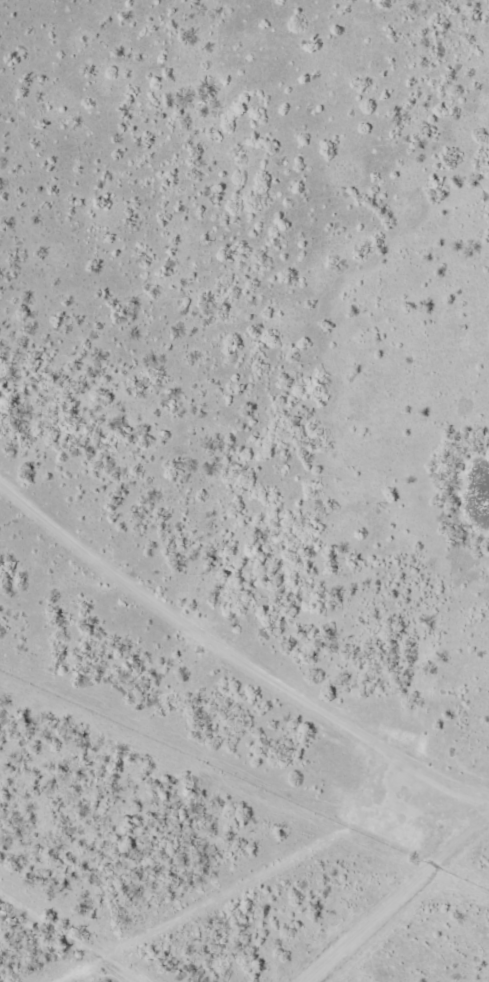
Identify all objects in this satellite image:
building: (402, 834)
storage tank: (402, 834)

